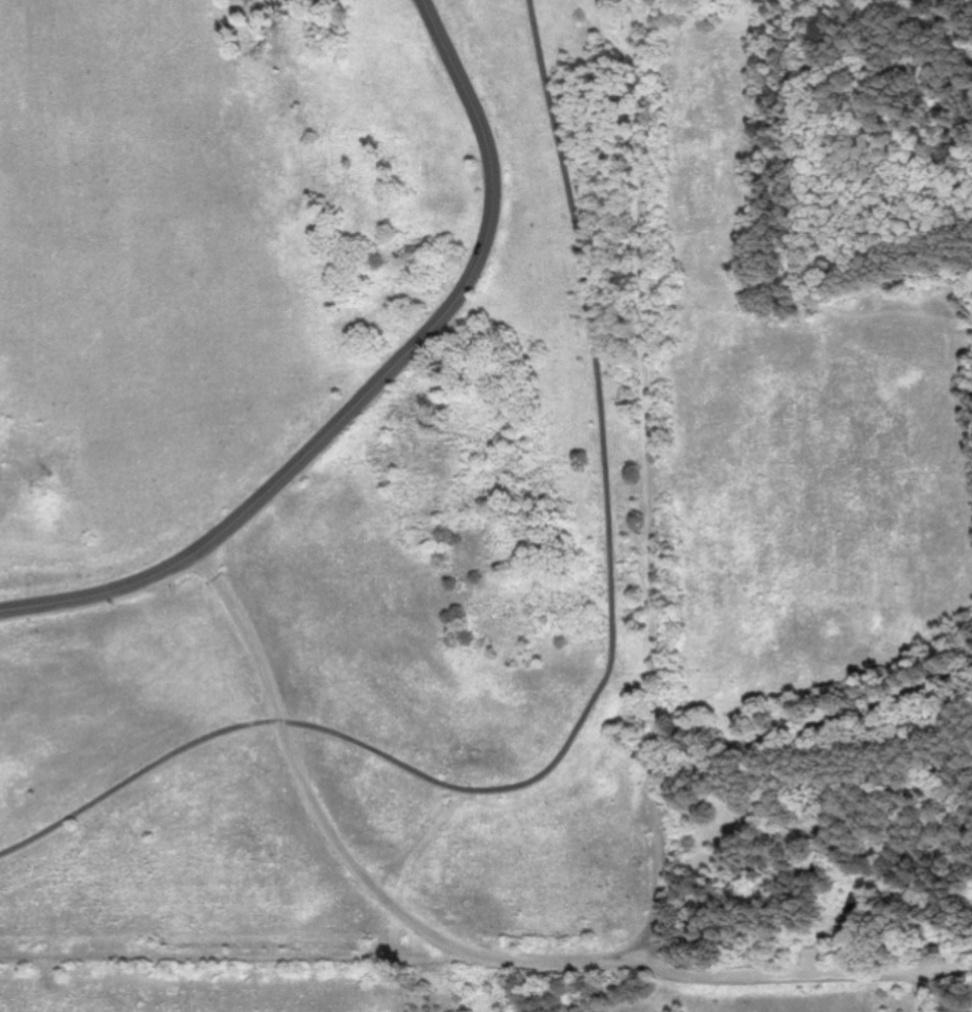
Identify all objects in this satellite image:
road: (805, 195)
road: (642, 310)
road: (374, 391)
park: (486, 506)
road: (603, 690)
road: (655, 713)
road: (730, 753)
road: (582, 768)
road: (459, 801)
road: (393, 902)
building: (854, 904)
road: (922, 914)
building: (934, 951)
road: (474, 953)
road: (228, 955)
parking lot: (809, 957)

